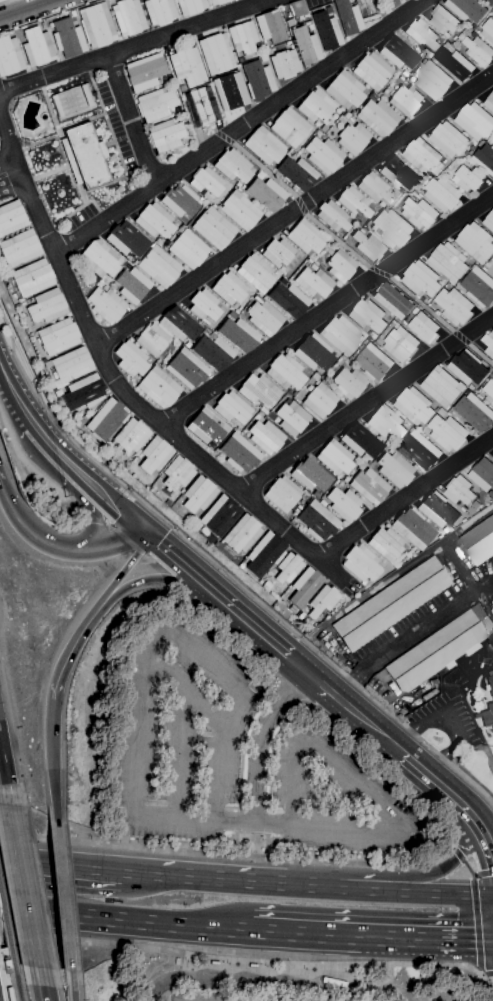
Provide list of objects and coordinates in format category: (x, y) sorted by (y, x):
road: (4, 1)
building: (491, 1)
building: (218, 2)
building: (190, 6)
building: (297, 8)
road: (27, 9)
building: (467, 9)
building: (159, 11)
building: (492, 11)
building: (72, 13)
building: (128, 17)
building: (347, 17)
building: (300, 18)
building: (444, 20)
building: (289, 22)
building: (306, 23)
building: (42, 25)
building: (96, 25)
building: (269, 27)
building: (310, 27)
building: (488, 30)
building: (326, 31)
building: (422, 34)
building: (242, 37)
building: (67, 38)
building: (287, 43)
road: (134, 45)
building: (305, 46)
building: (37, 47)
building: (479, 51)
building: (397, 53)
building: (215, 54)
building: (429, 54)
building: (9, 56)
building: (263, 58)
building: (456, 63)
building: (284, 64)
building: (187, 67)
building: (372, 71)
building: (144, 72)
building: (396, 73)
building: (404, 74)
building: (400, 78)
building: (432, 78)
building: (166, 80)
building: (257, 80)
building: (344, 90)
building: (230, 91)
building: (87, 95)
park: (72, 100)
building: (406, 100)
building: (489, 102)
building: (155, 105)
building: (56, 106)
building: (201, 106)
building: (315, 106)
building: (177, 110)
building: (351, 113)
building: (347, 116)
building: (377, 116)
road: (131, 120)
building: (475, 120)
building: (289, 126)
road: (239, 127)
building: (323, 129)
building: (316, 132)
building: (165, 136)
road: (7, 138)
building: (352, 138)
building: (449, 139)
road: (228, 140)
building: (489, 140)
building: (264, 147)
building: (472, 147)
building: (466, 152)
building: (323, 155)
building: (84, 156)
building: (423, 156)
building: (485, 158)
building: (463, 159)
road: (7, 160)
building: (445, 161)
building: (233, 166)
road: (265, 170)
building: (297, 173)
building: (398, 173)
building: (259, 175)
building: (469, 177)
building: (206, 182)
road: (11, 184)
building: (237, 185)
building: (242, 187)
building: (374, 188)
building: (266, 194)
building: (442, 194)
building: (417, 195)
building: (180, 202)
building: (353, 202)
road: (301, 205)
building: (381, 205)
road: (294, 209)
building: (240, 211)
building: (419, 213)
building: (332, 216)
building: (12, 218)
building: (488, 220)
building: (154, 221)
building: (391, 227)
building: (214, 228)
building: (306, 238)
building: (127, 240)
road: (338, 241)
building: (347, 241)
building: (476, 242)
building: (369, 244)
building: (19, 248)
building: (188, 248)
building: (278, 253)
building: (99, 260)
building: (309, 261)
building: (449, 261)
building: (315, 263)
building: (340, 265)
building: (480, 265)
building: (159, 266)
building: (485, 268)
road: (379, 272)
building: (492, 272)
building: (256, 273)
building: (32, 278)
building: (421, 279)
building: (283, 282)
building: (314, 282)
building: (132, 285)
building: (479, 286)
building: (104, 288)
building: (229, 288)
building: (289, 300)
building: (393, 300)
building: (430, 300)
building: (22, 304)
road: (422, 304)
building: (106, 305)
building: (454, 305)
building: (46, 306)
building: (204, 306)
building: (239, 308)
road: (326, 310)
building: (415, 310)
building: (236, 312)
building: (367, 315)
building: (264, 317)
building: (405, 322)
building: (179, 324)
building: (424, 327)
building: (207, 331)
building: (372, 334)
building: (238, 335)
building: (341, 335)
building: (58, 337)
road: (461, 337)
building: (37, 340)
building: (152, 340)
building: (401, 343)
building: (488, 343)
building: (187, 345)
building: (213, 353)
building: (314, 353)
road: (481, 354)
building: (131, 360)
building: (157, 361)
building: (42, 362)
building: (374, 362)
building: (71, 365)
building: (162, 365)
building: (468, 367)
building: (186, 369)
building: (285, 372)
building: (492, 374)
building: (315, 377)
building: (349, 383)
building: (442, 386)
building: (158, 387)
building: (472, 387)
building: (259, 391)
building: (469, 391)
building: (489, 391)
building: (57, 393)
building: (83, 393)
road: (15, 398)
building: (319, 400)
road: (136, 403)
road: (365, 404)
building: (414, 405)
building: (232, 408)
building: (264, 411)
building: (475, 411)
building: (87, 415)
building: (256, 417)
building: (291, 418)
building: (105, 421)
building: (387, 423)
building: (206, 427)
building: (447, 431)
building: (131, 436)
building: (266, 437)
building: (360, 442)
building: (383, 442)
building: (110, 450)
building: (420, 450)
building: (239, 453)
building: (154, 455)
building: (492, 455)
building: (335, 458)
building: (395, 470)
building: (483, 473)
building: (177, 474)
building: (310, 475)
building: (336, 481)
building: (341, 481)
building: (369, 486)
road: (88, 487)
building: (459, 490)
building: (181, 491)
building: (198, 494)
building: (282, 494)
road: (404, 497)
road: (85, 502)
building: (322, 503)
building: (476, 504)
building: (344, 505)
building: (298, 507)
building: (463, 509)
building: (438, 510)
building: (296, 511)
building: (219, 516)
building: (464, 520)
building: (318, 521)
road: (17, 522)
building: (196, 526)
building: (413, 529)
building: (445, 530)
building: (242, 534)
building: (439, 537)
traffic signals: (148, 538)
building: (479, 541)
building: (386, 544)
road: (97, 550)
building: (264, 554)
building: (361, 563)
building: (241, 564)
building: (288, 568)
road: (126, 570)
road: (225, 573)
road: (194, 576)
road: (174, 580)
building: (267, 585)
building: (304, 587)
building: (323, 601)
building: (391, 605)
building: (492, 611)
building: (301, 616)
road: (402, 639)
road: (180, 642)
building: (435, 652)
road: (69, 653)
building: (490, 684)
road: (181, 693)
road: (333, 694)
building: (486, 716)
road: (446, 725)
flagpole: (435, 738)
road: (258, 739)
road: (178, 756)
parking lot: (235, 757)
road: (52, 766)
road: (4, 782)
road: (466, 810)
road: (21, 827)
road: (368, 832)
road: (452, 848)
road: (242, 855)
road: (459, 857)
road: (62, 869)
road: (440, 870)
road: (470, 872)
road: (484, 872)
road: (474, 873)
road: (23, 886)
road: (253, 886)
road: (63, 894)
road: (438, 895)
road: (77, 913)
railway: (7, 927)
road: (204, 927)
road: (477, 927)
road: (373, 938)
road: (31, 951)
road: (4, 958)
road: (5, 960)
building: (177, 961)
road: (254, 962)
building: (214, 963)
building: (253, 965)
building: (6, 967)
road: (149, 973)
road: (488, 973)
road: (481, 974)
railway: (8, 975)
road: (190, 977)
road: (168, 979)
road: (220, 981)
railway: (17, 982)
road: (42, 984)
road: (72, 985)
road: (326, 987)
railway: (1, 992)
building: (9, 994)
parking lot: (230, 997)
road: (253, 997)

